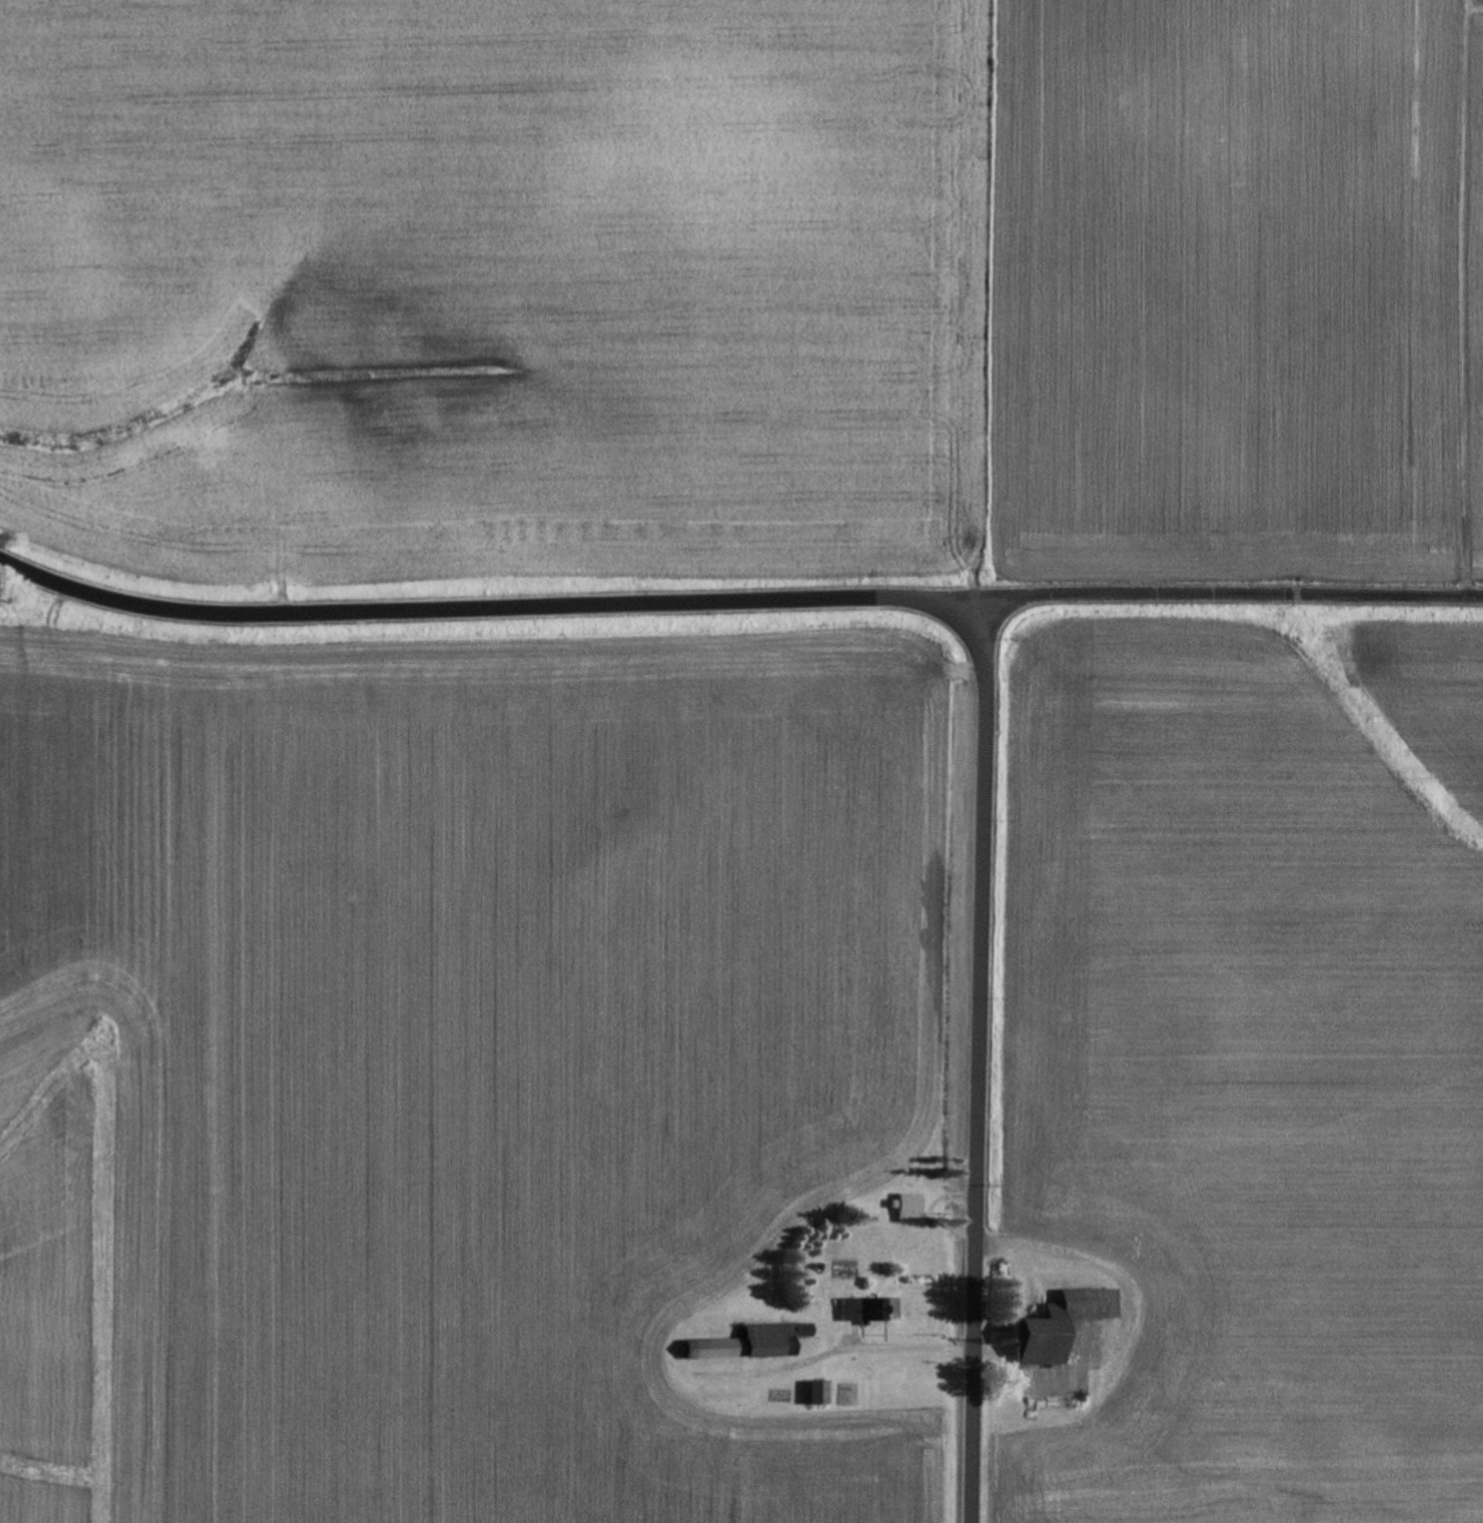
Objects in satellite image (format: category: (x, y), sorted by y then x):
road: (1233, 602)
road: (487, 609)
road: (975, 1062)
building: (905, 1211)
building: (866, 1312)
building: (1053, 1326)
building: (747, 1345)
road: (907, 1346)
building: (812, 1395)

